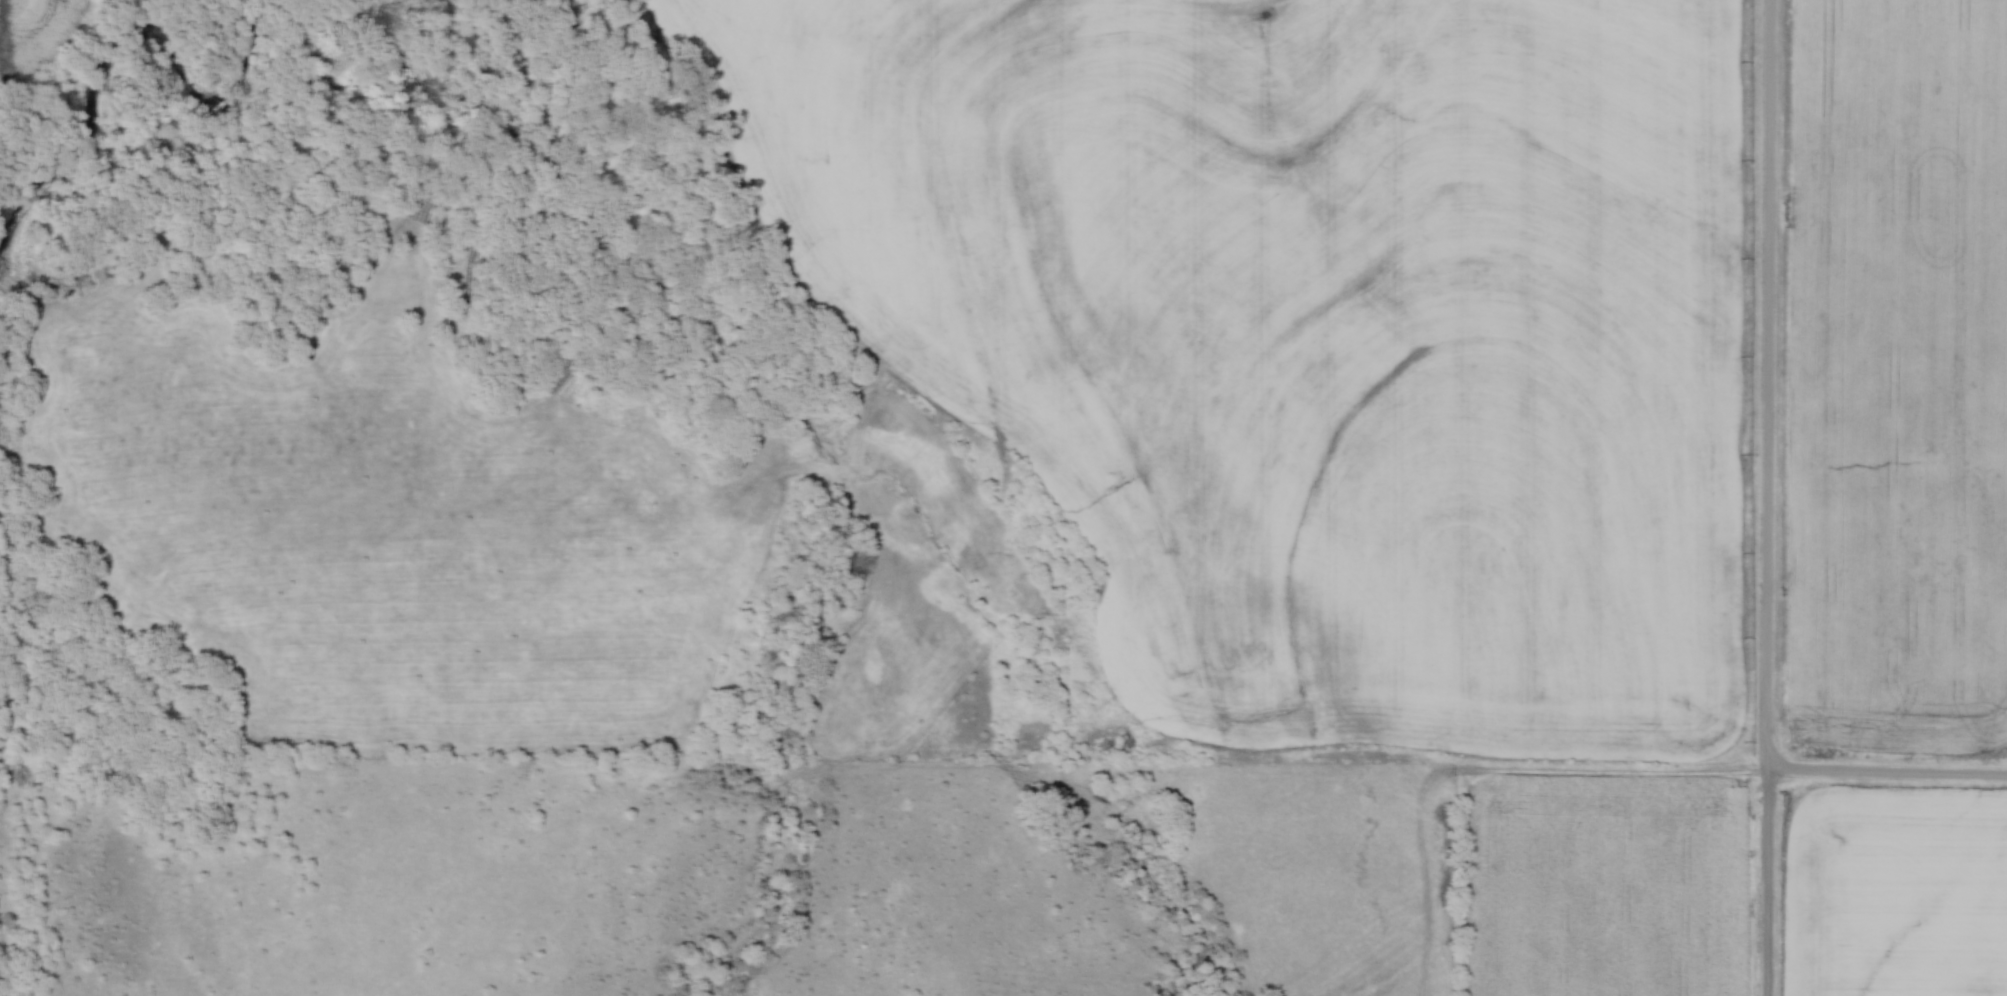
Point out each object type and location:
road: (1770, 498)
road: (1888, 776)

